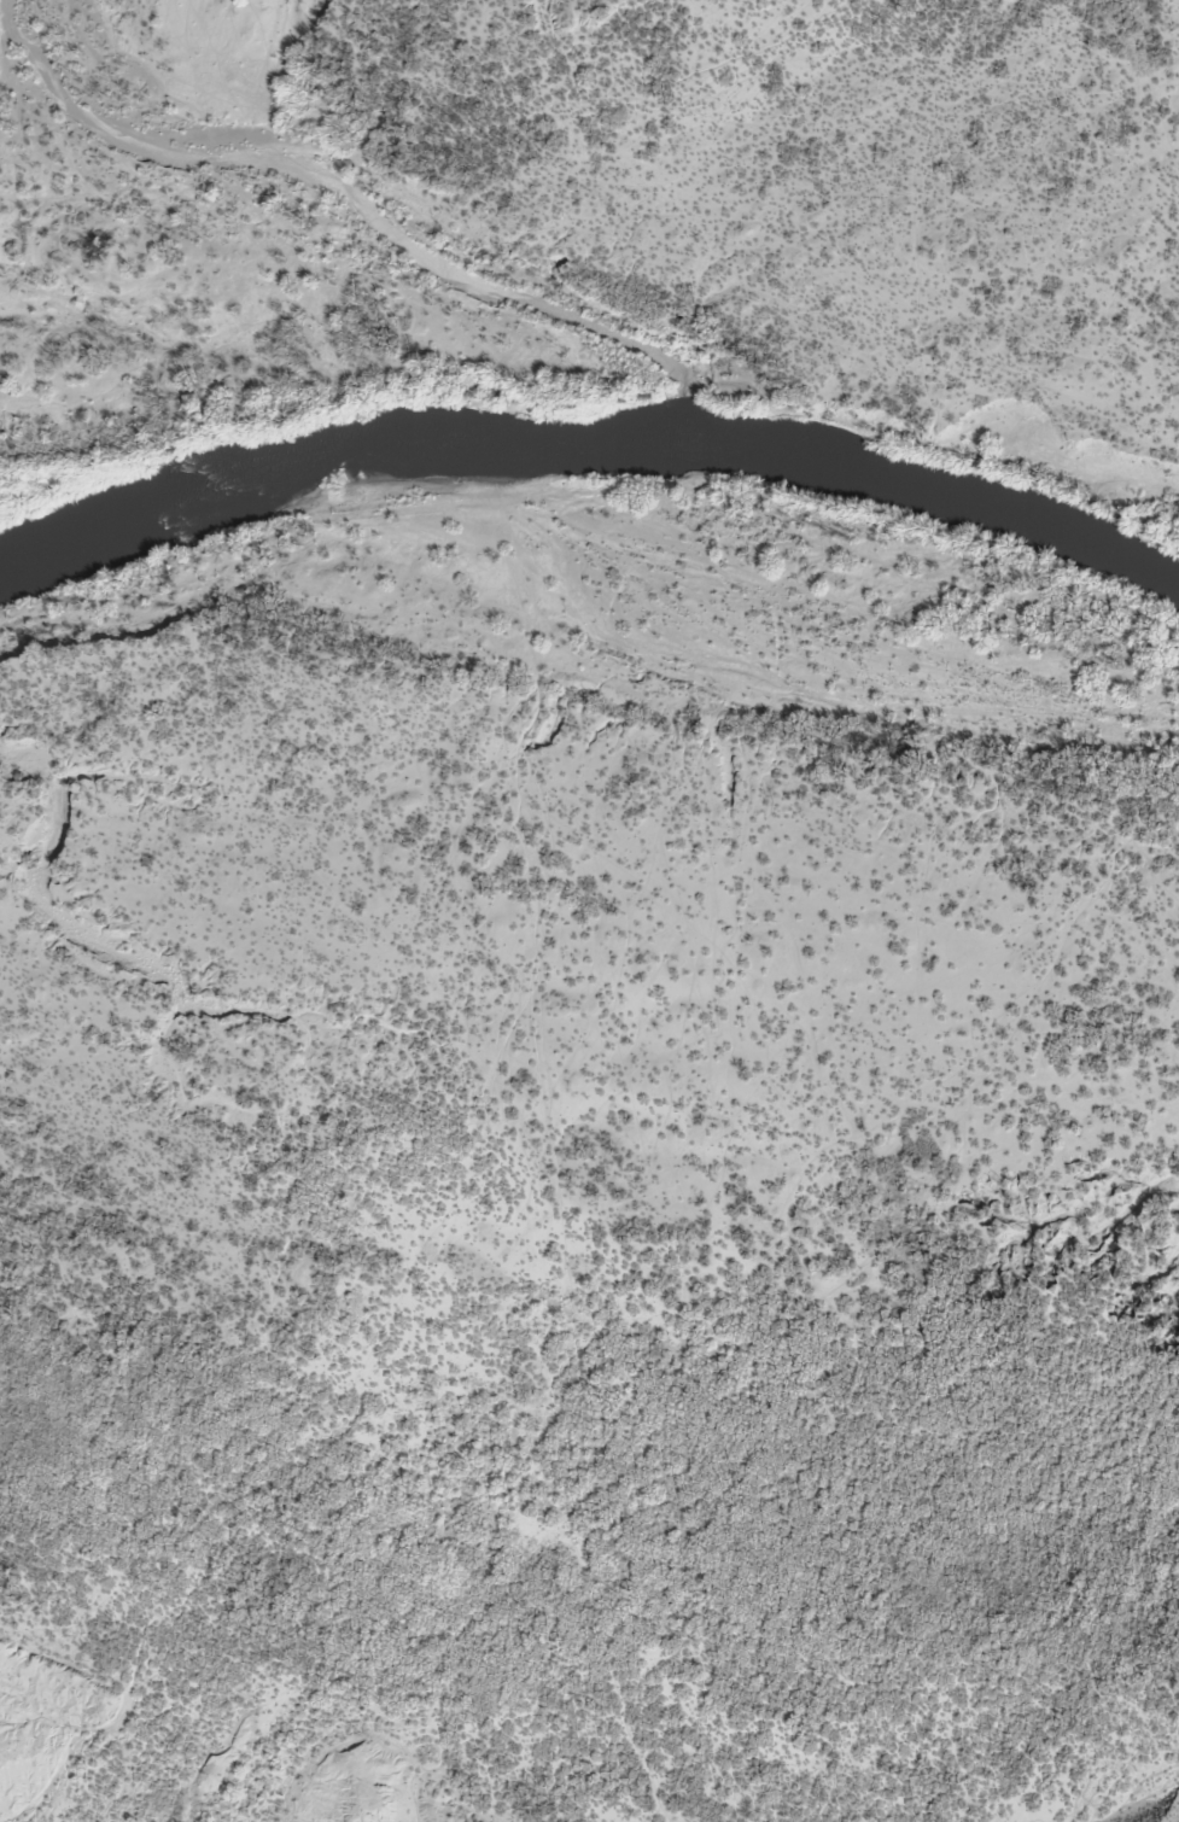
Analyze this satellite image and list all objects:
river: (596, 426)

